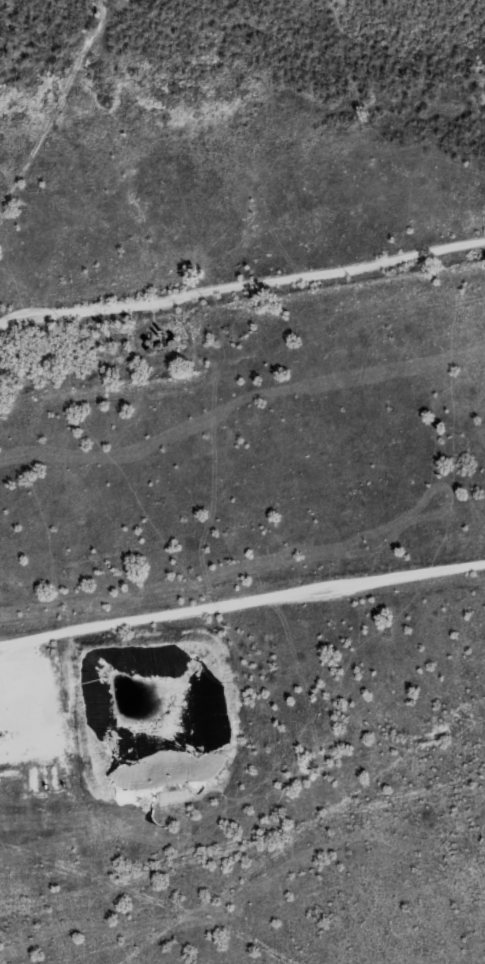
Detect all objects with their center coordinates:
road: (242, 601)

